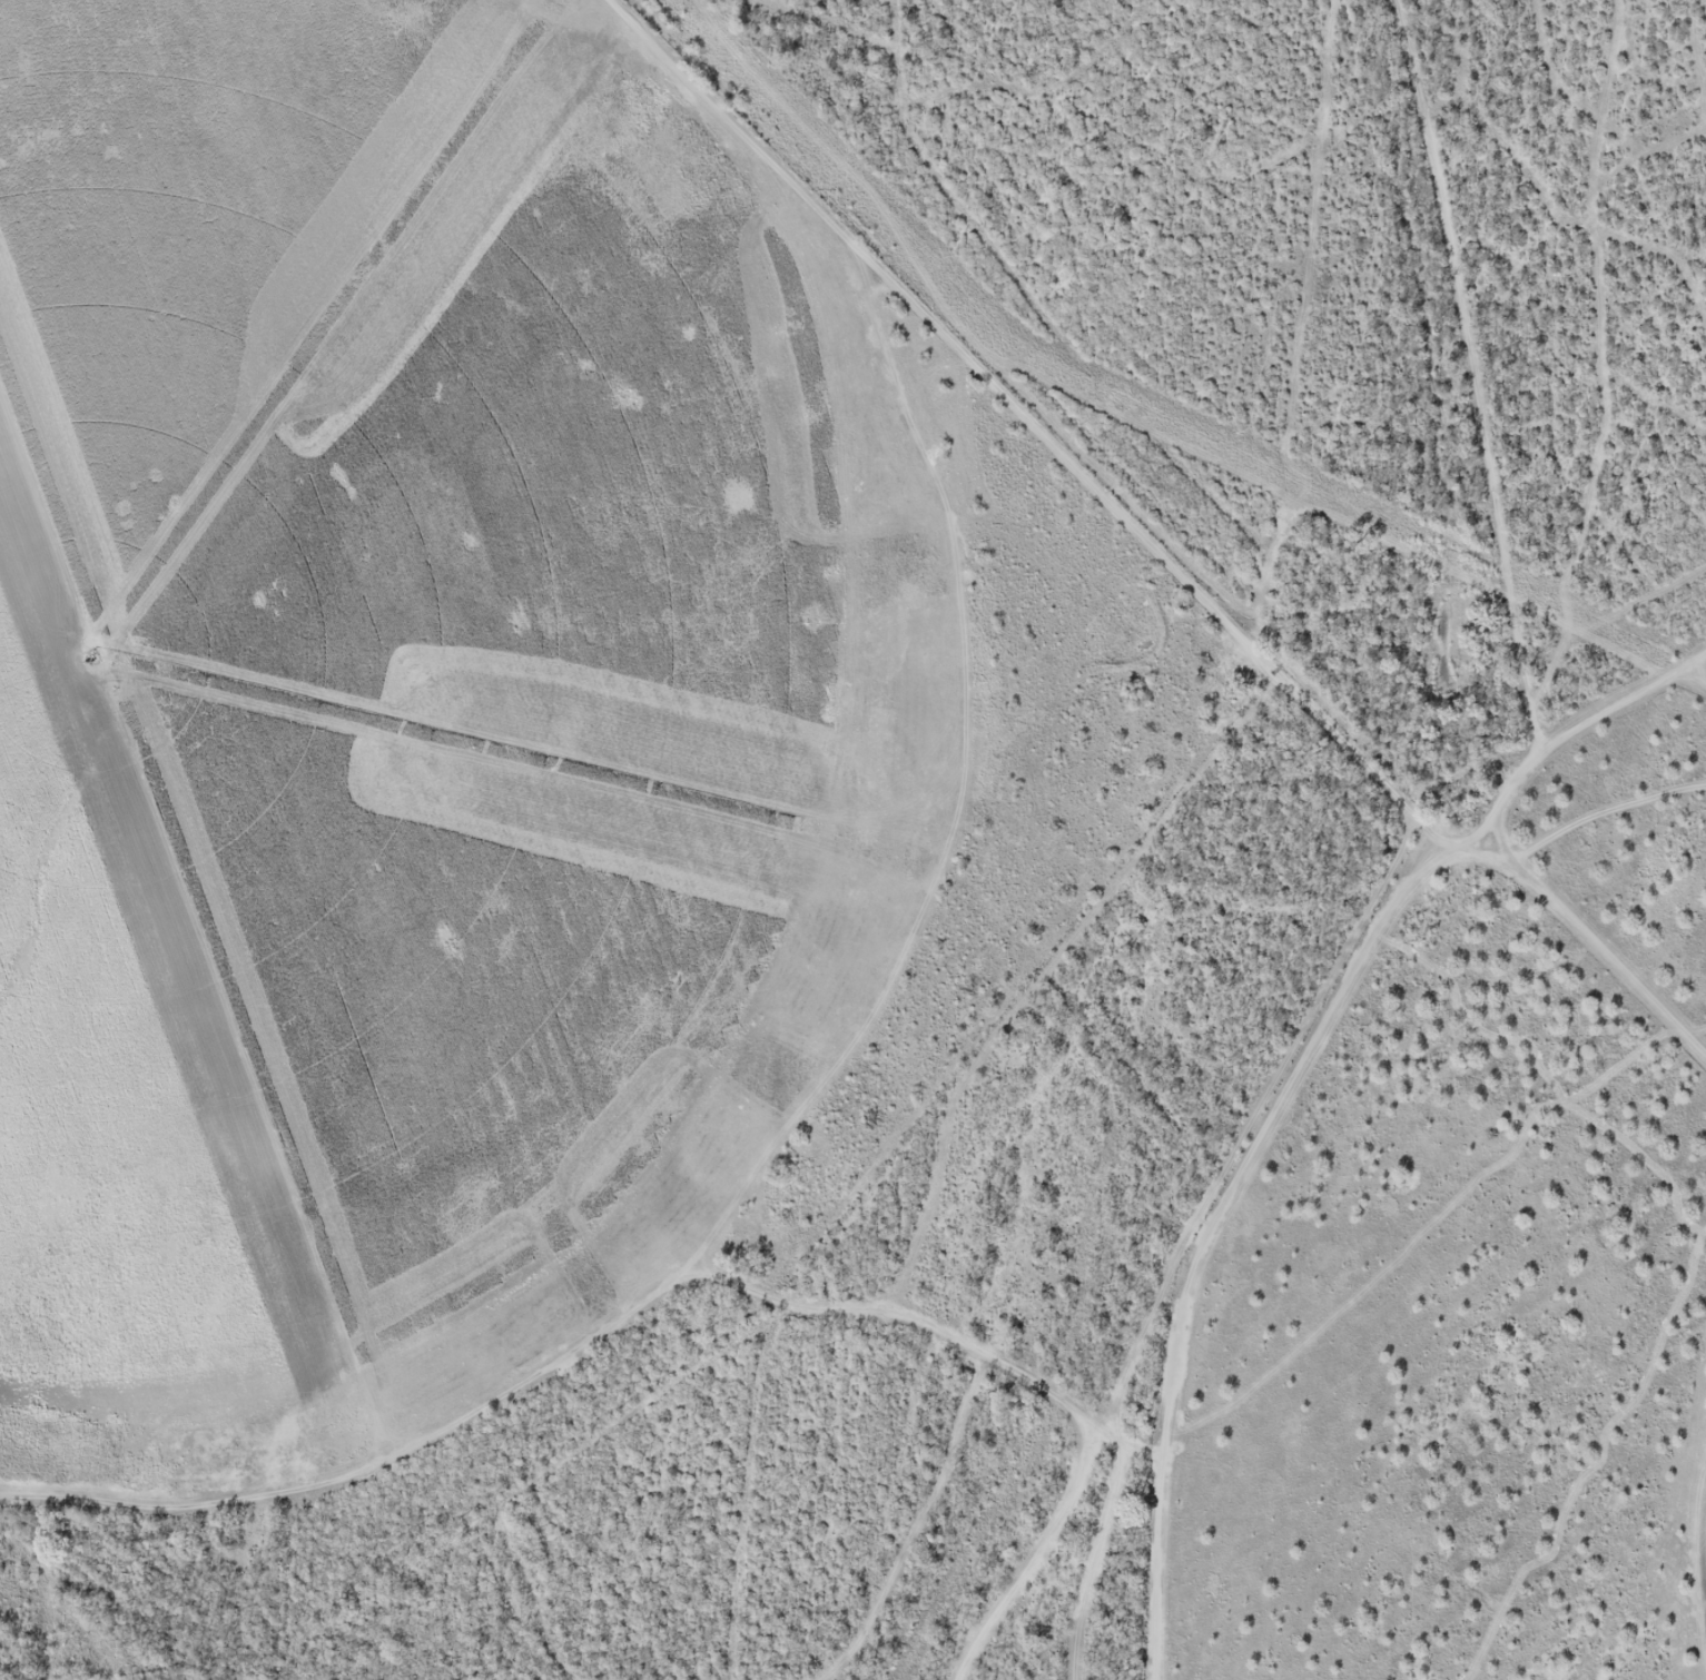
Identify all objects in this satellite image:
road: (1460, 291)
road: (1588, 528)
road: (662, 1321)

